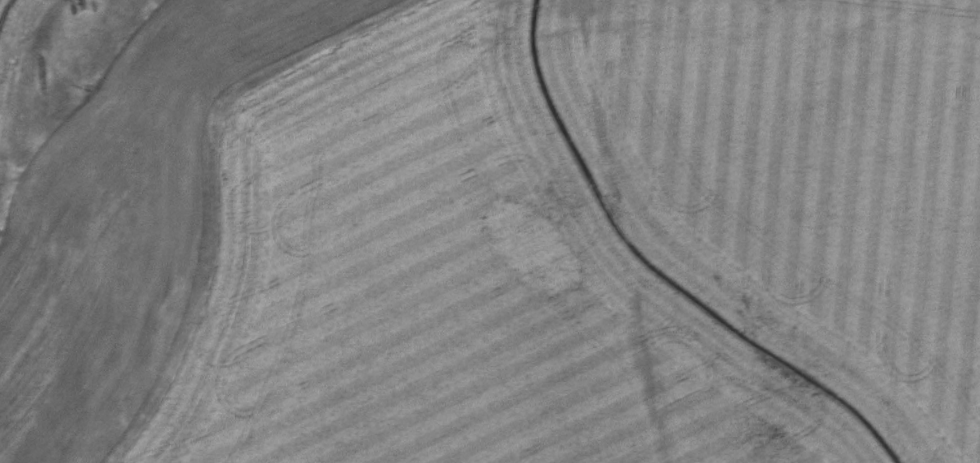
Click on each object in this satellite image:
road: (2, 2)
crop: (124, 220)
crop: (601, 241)

